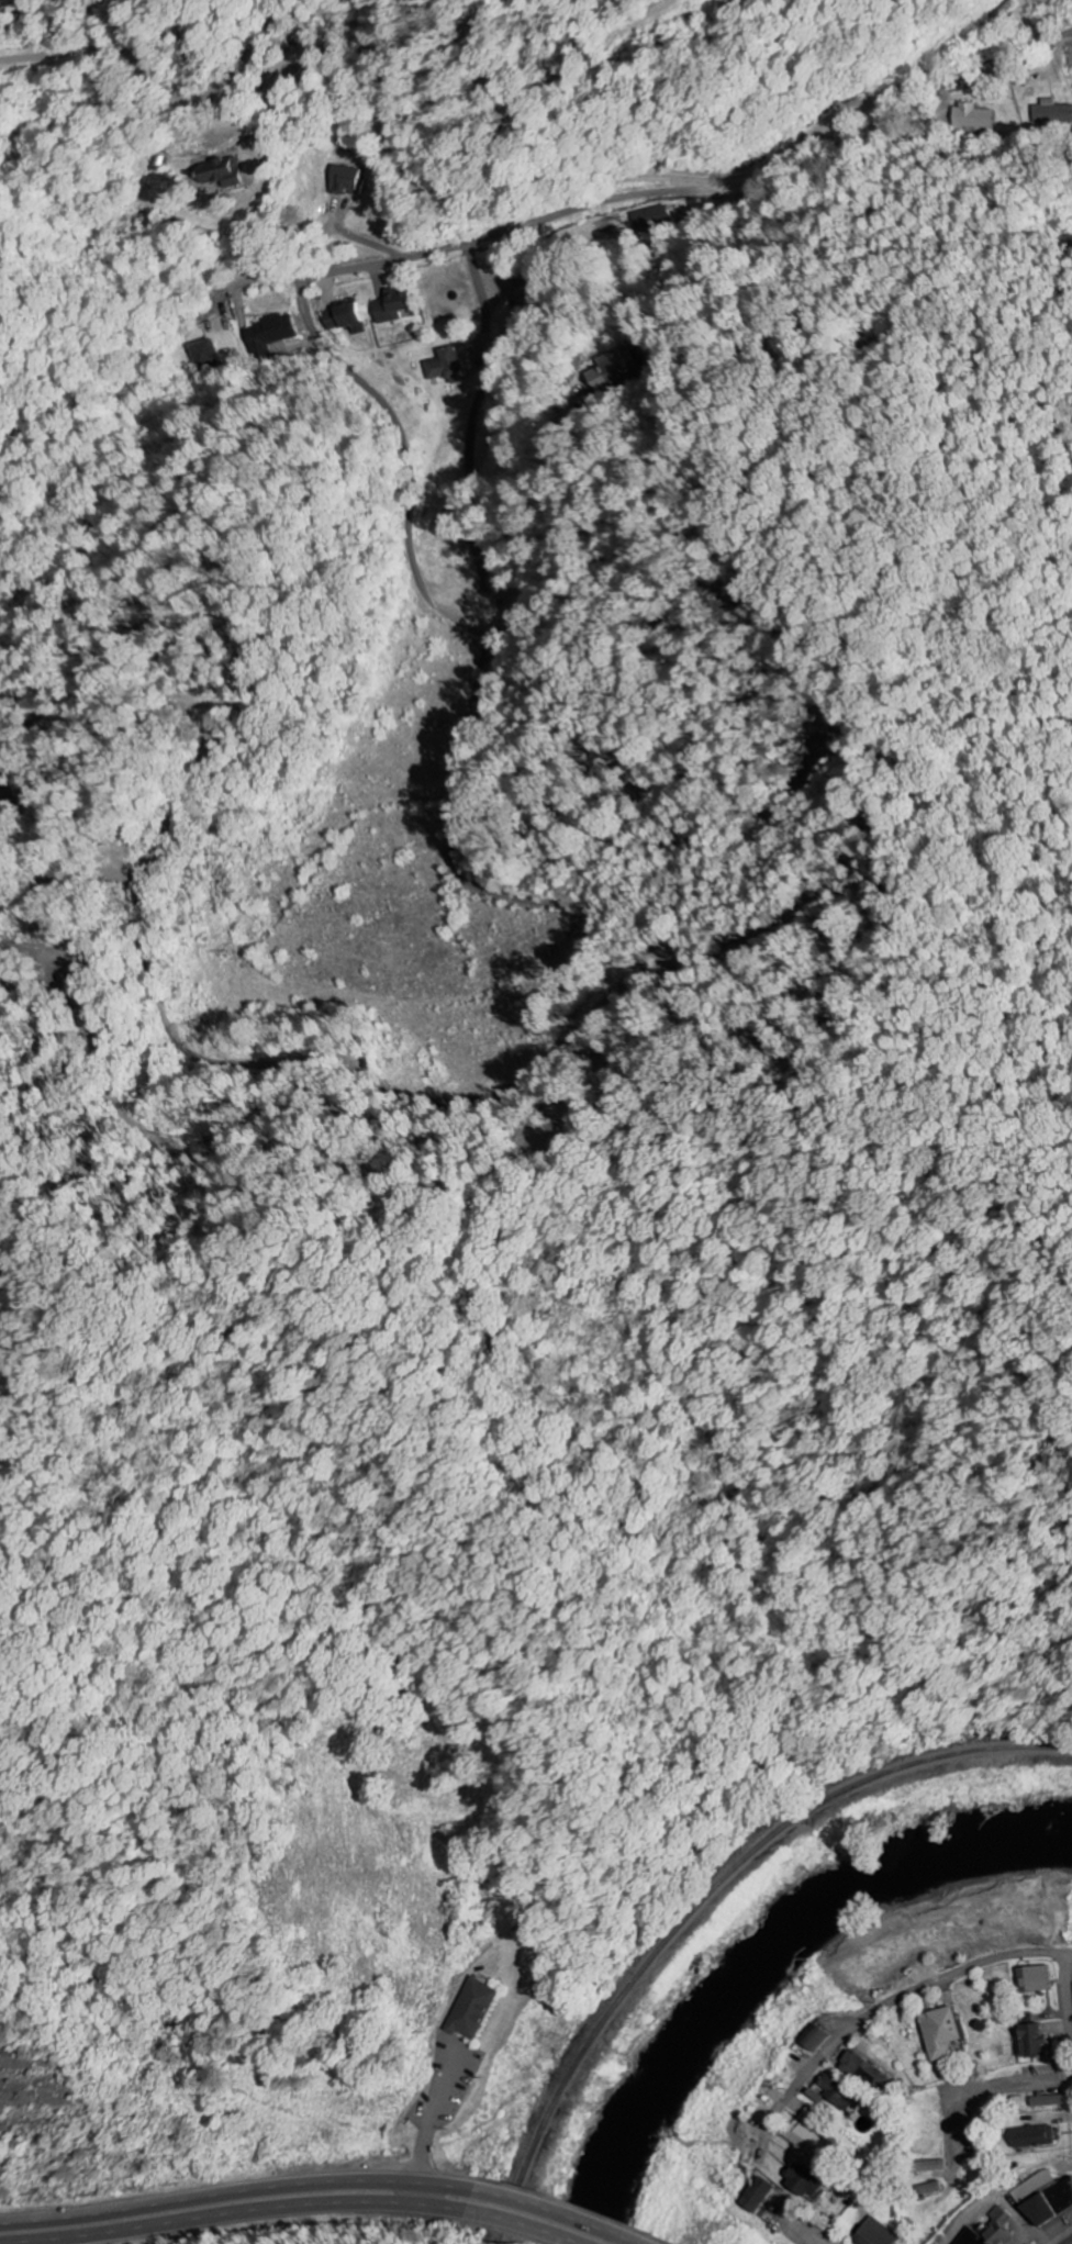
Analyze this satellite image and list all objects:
building: (1052, 113)
building: (972, 118)
building: (219, 174)
building: (343, 181)
road: (670, 193)
building: (390, 308)
building: (342, 320)
building: (268, 333)
building: (205, 355)
building: (627, 365)
building: (443, 367)
road: (399, 506)
railway: (711, 1900)
river: (759, 1956)
building: (1032, 1978)
road: (1068, 1988)
building: (468, 2009)
road: (883, 2009)
building: (938, 2032)
building: (814, 2039)
building: (1030, 2039)
building: (861, 2069)
road: (981, 2088)
building: (836, 2094)
building: (1047, 2101)
building: (1031, 2136)
building: (802, 2139)
building: (926, 2166)
building: (800, 2182)
building: (927, 2189)
road: (243, 2190)
building: (755, 2195)
building: (1043, 2198)
road: (572, 2211)
road: (253, 2214)
road: (537, 2225)
building: (989, 2231)
building: (874, 2233)

